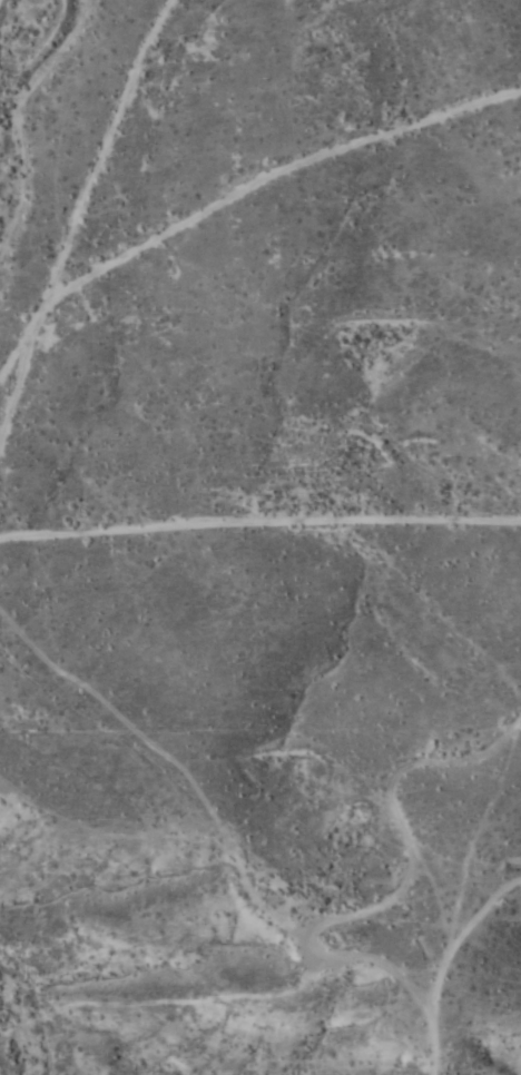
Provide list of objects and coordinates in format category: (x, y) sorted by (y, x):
road: (259, 554)
road: (464, 918)

